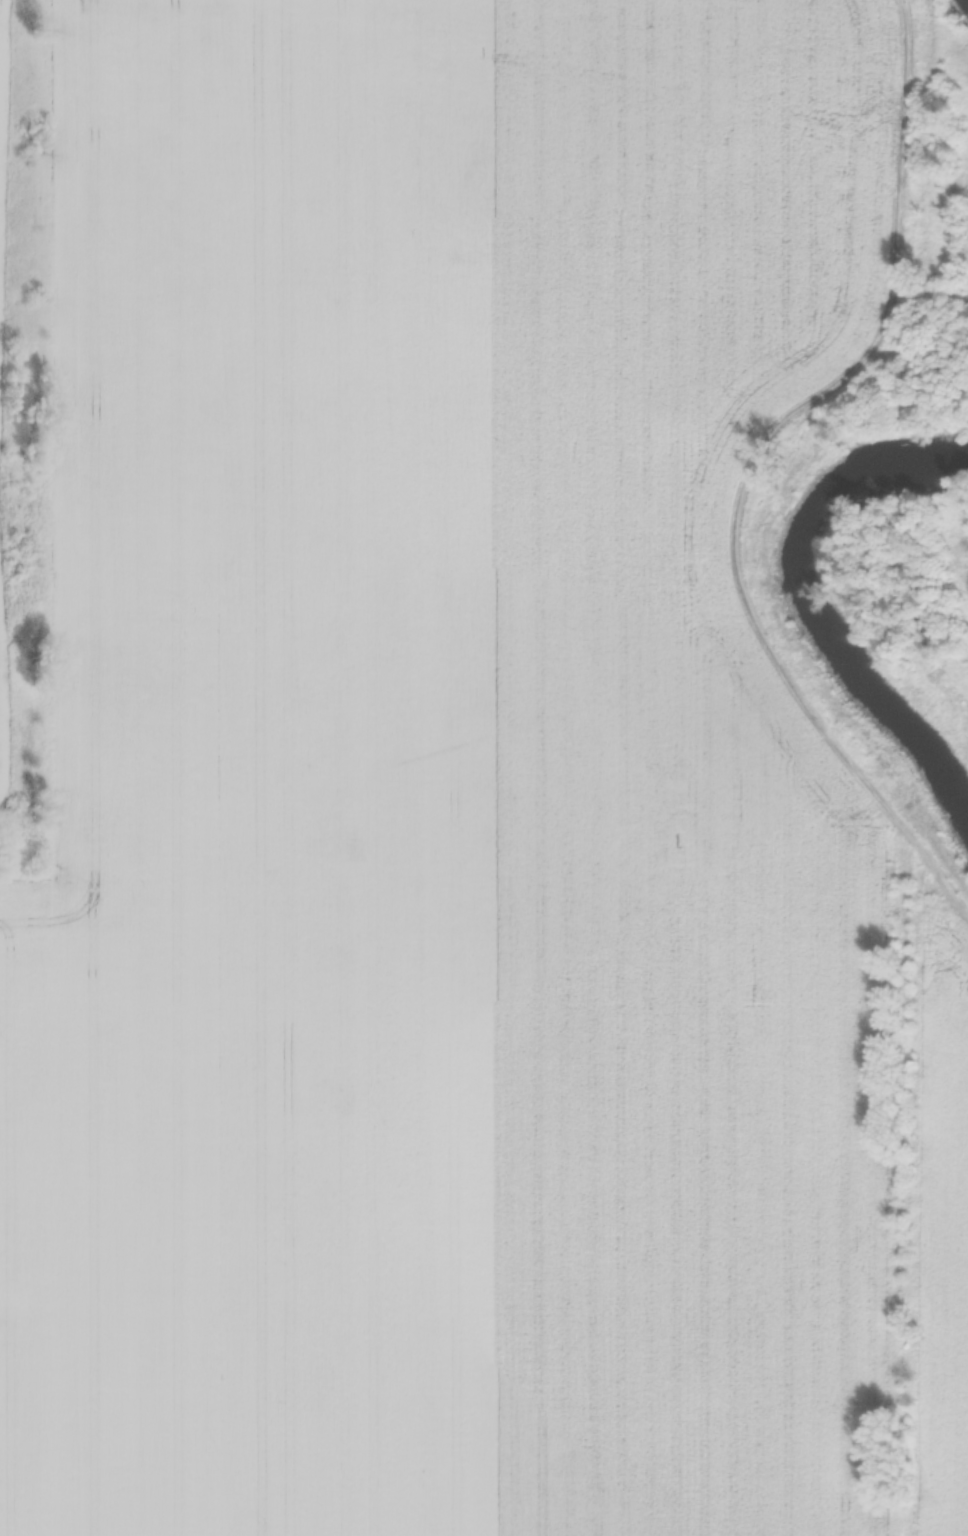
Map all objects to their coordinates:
building: (897, 468)
river: (814, 596)

